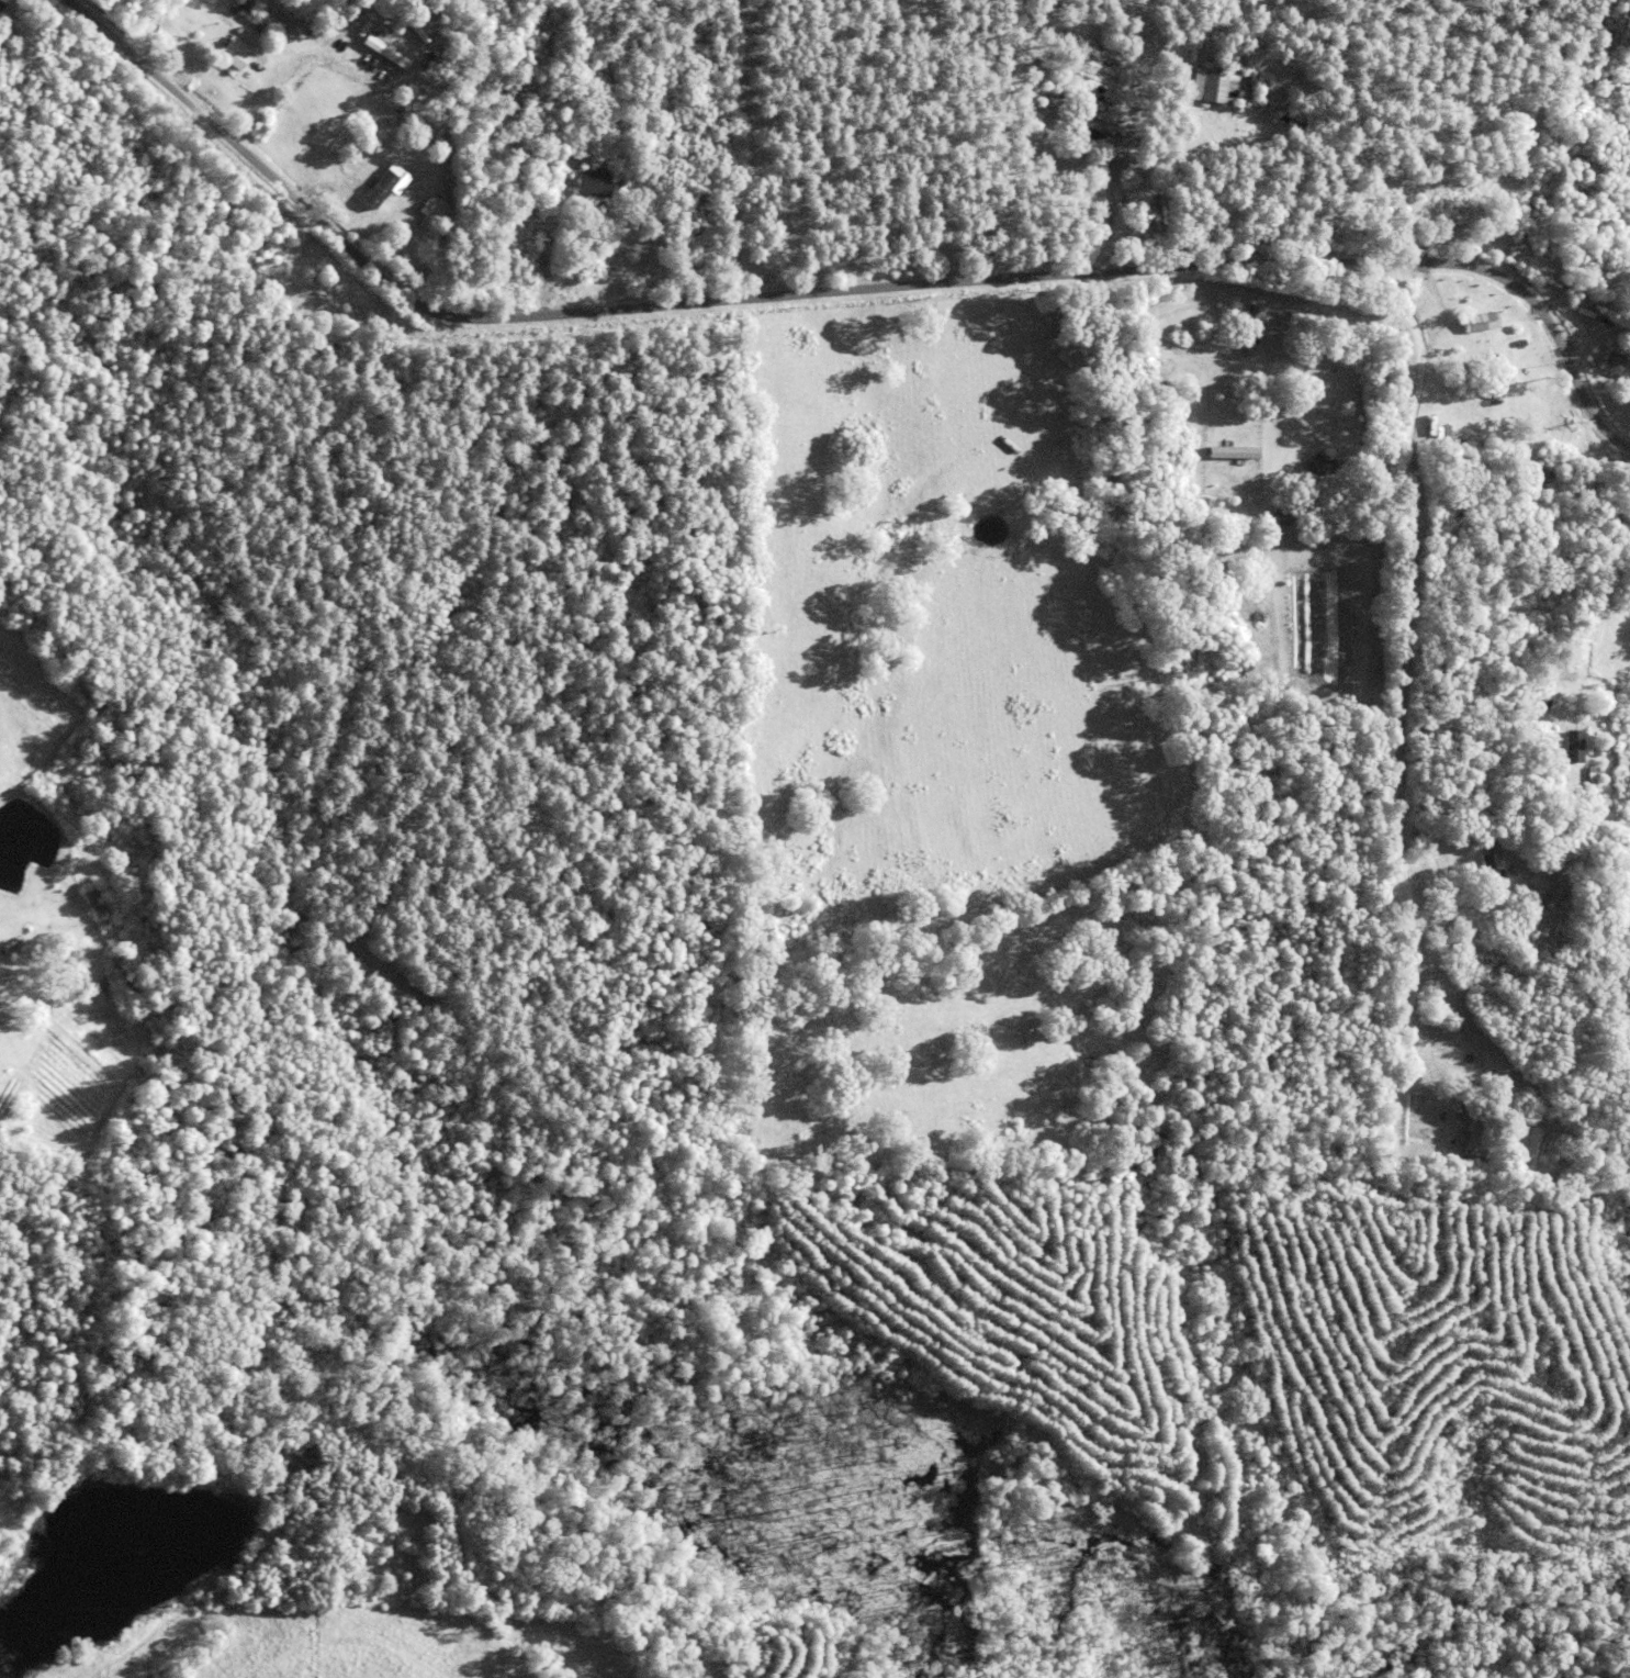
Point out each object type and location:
building: (248, 14)
building: (285, 15)
building: (221, 20)
building: (383, 51)
building: (233, 54)
building: (1213, 87)
building: (1065, 92)
building: (1261, 92)
building: (1077, 126)
building: (1296, 126)
building: (396, 166)
building: (627, 182)
building: (591, 184)
building: (380, 190)
building: (426, 213)
road: (838, 289)
building: (1577, 305)
building: (1068, 313)
building: (1477, 323)
building: (1250, 326)
building: (1518, 343)
building: (1449, 348)
road: (1219, 355)
building: (1450, 366)
building: (1615, 367)
building: (1502, 371)
building: (1514, 371)
building: (1232, 454)
building: (1318, 467)
building: (1528, 492)
building: (1247, 671)
building: (1573, 748)
building: (1590, 783)
building: (1554, 793)
building: (1466, 869)
building: (1488, 875)
building: (1526, 900)
building: (13, 949)
building: (1473, 1131)

